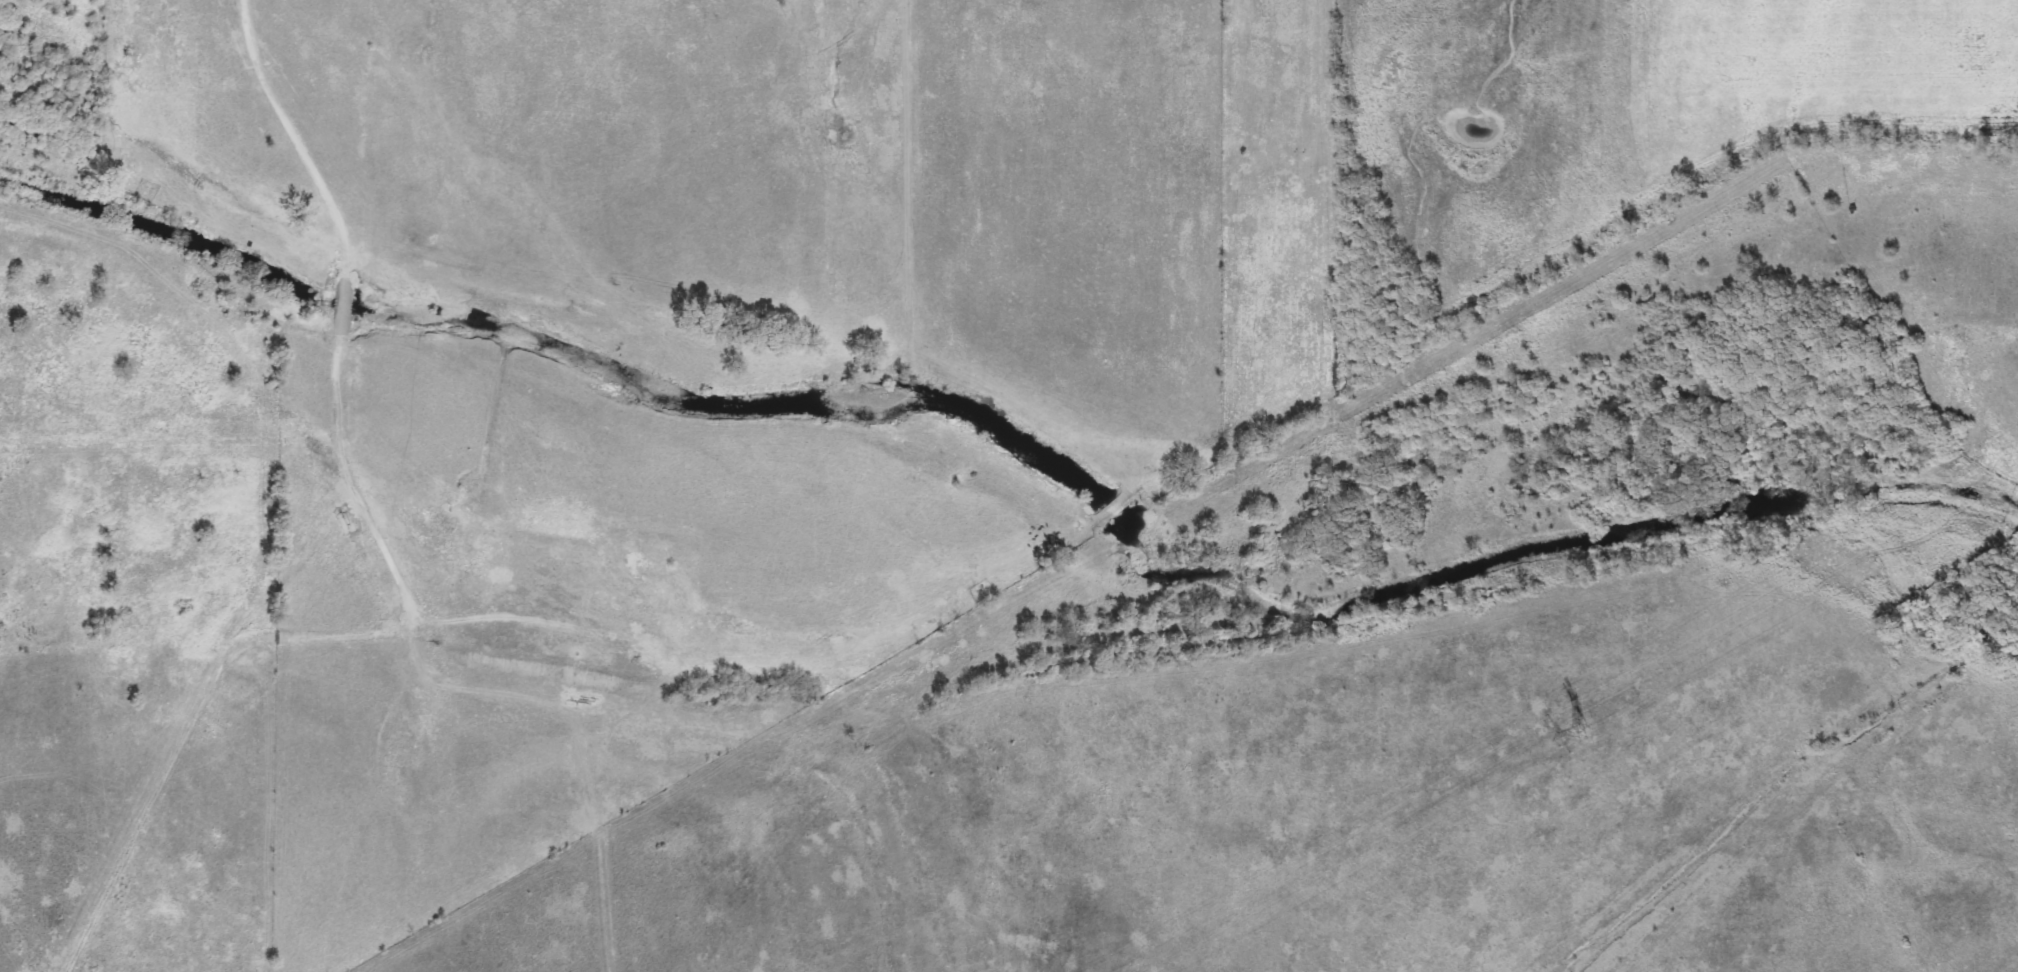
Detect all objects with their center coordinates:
road: (303, 157)
power tower: (1578, 734)

